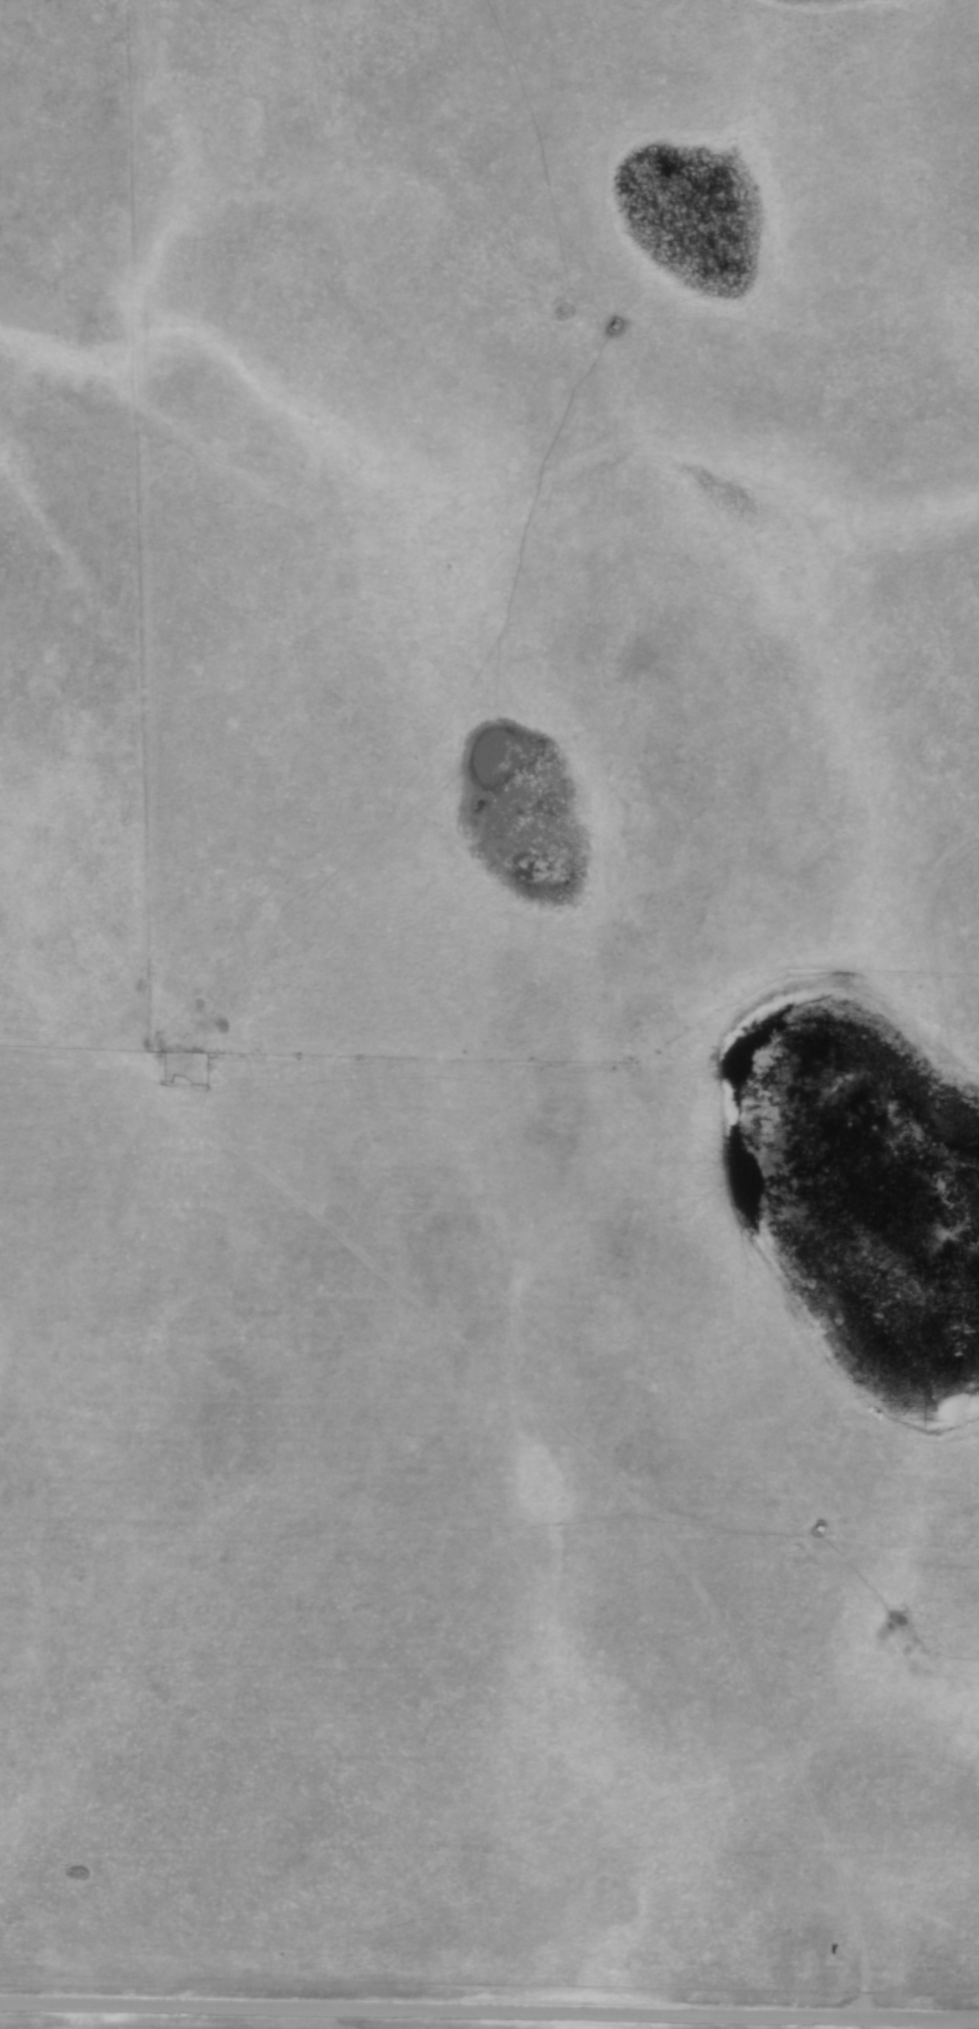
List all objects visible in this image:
road: (489, 2009)

